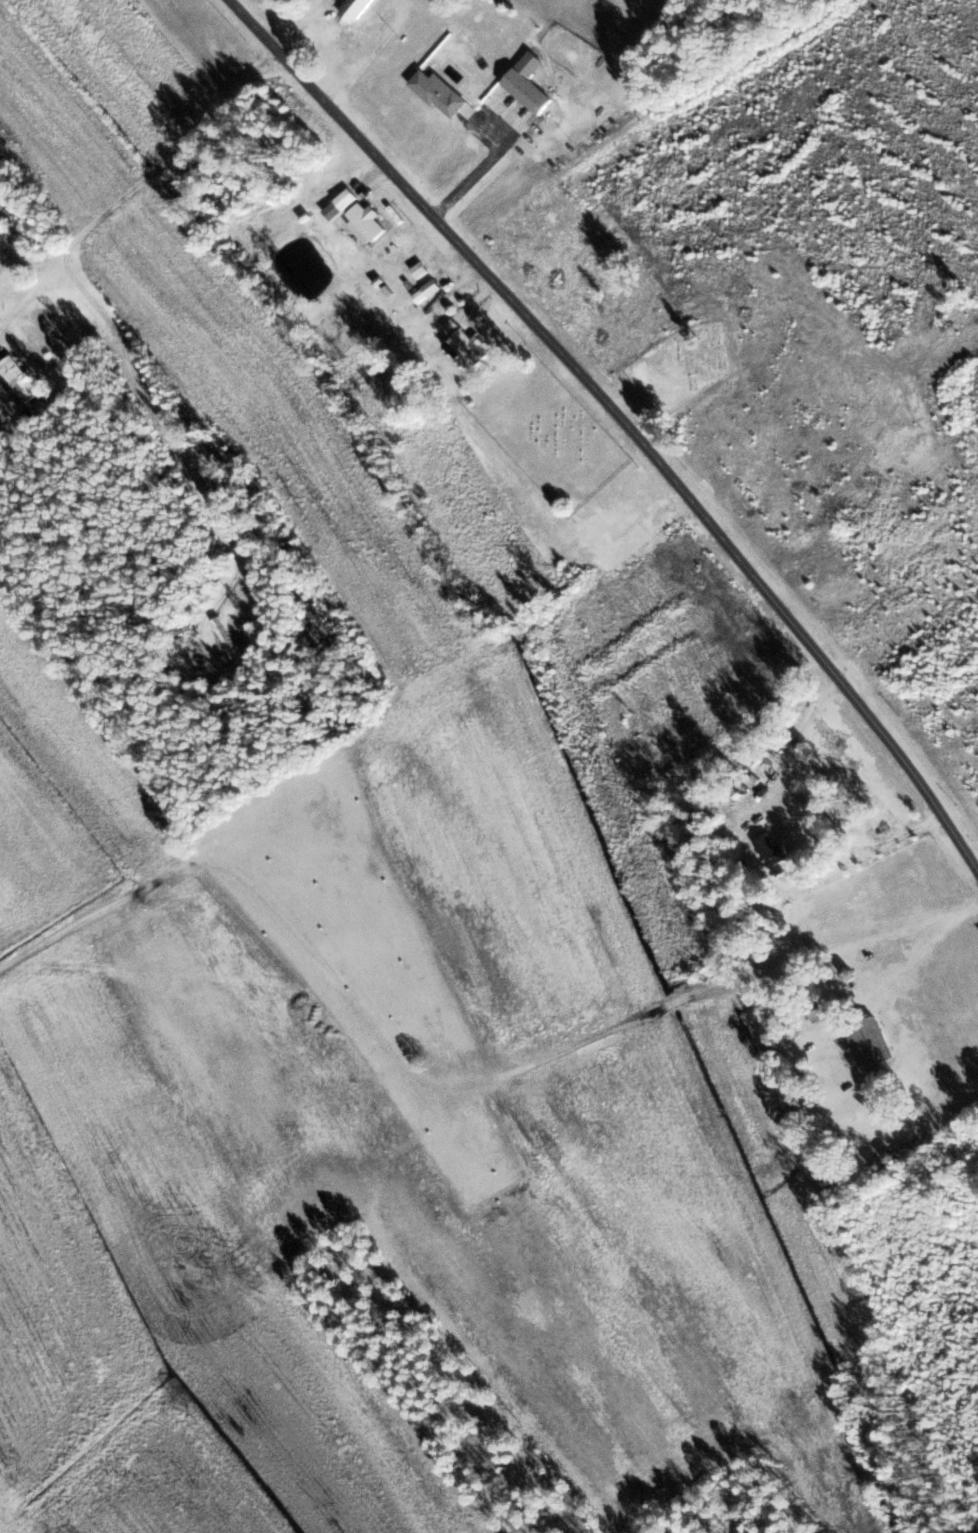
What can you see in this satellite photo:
building: (352, 10)
building: (525, 83)
building: (437, 93)
building: (345, 200)
building: (365, 221)
building: (425, 292)
road: (467, 306)
building: (464, 344)
building: (17, 379)
road: (625, 418)
road: (902, 596)
building: (224, 637)
building: (769, 851)
building: (867, 1043)

